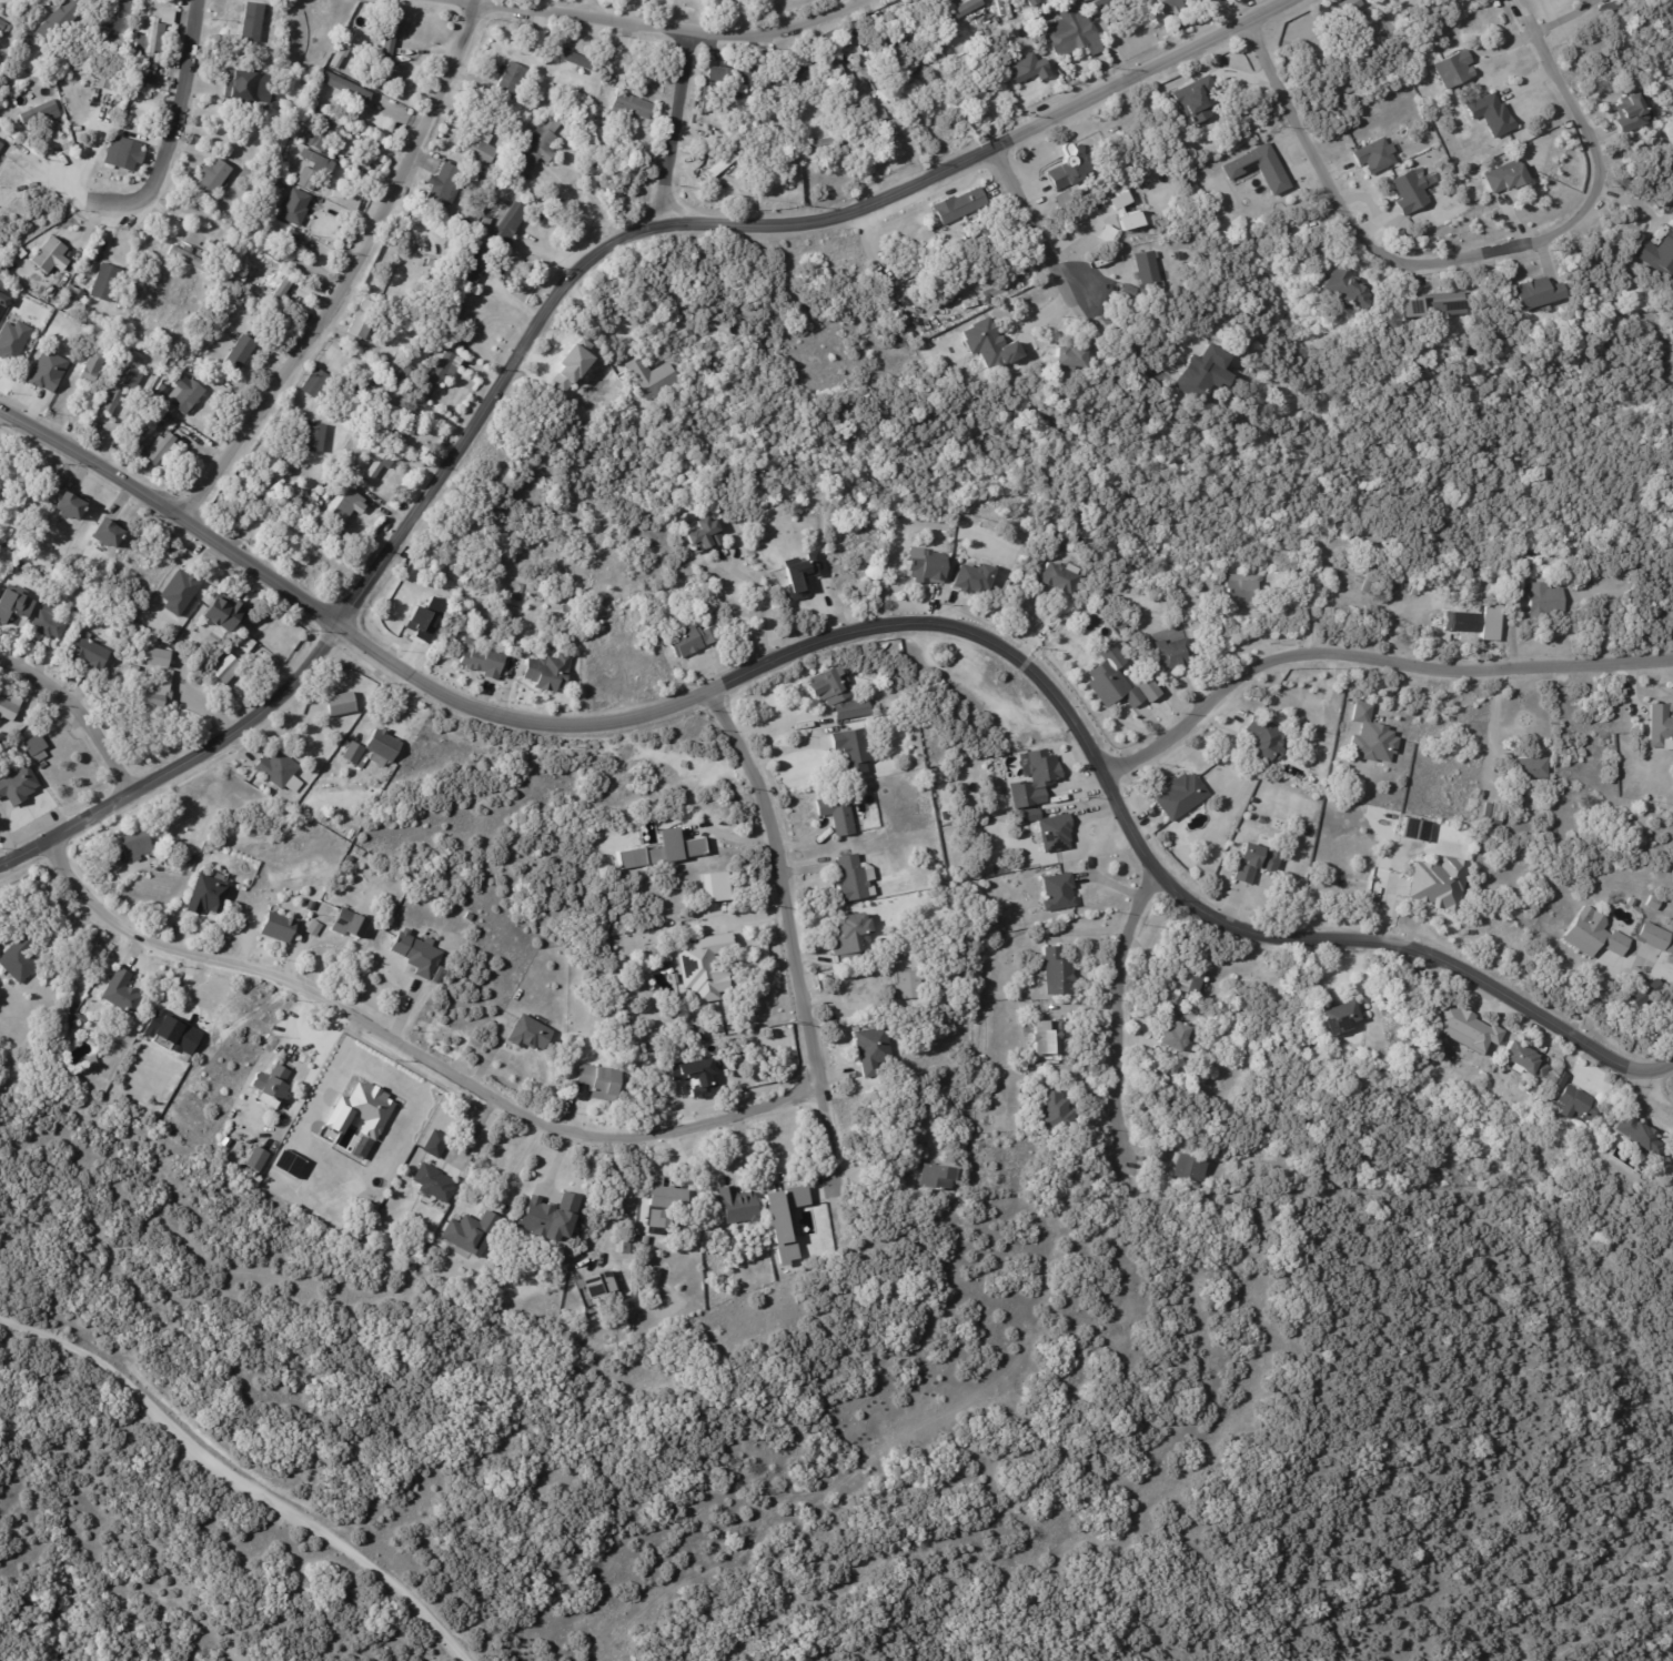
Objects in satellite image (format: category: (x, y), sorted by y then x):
building: (1601, 0)
building: (1606, 1)
building: (1034, 2)
building: (1106, 4)
building: (729, 6)
building: (1170, 7)
building: (958, 12)
building: (167, 17)
building: (57, 18)
building: (121, 24)
building: (4, 30)
building: (1072, 32)
road: (667, 34)
building: (149, 39)
building: (390, 42)
building: (1042, 51)
building: (938, 53)
building: (570, 58)
building: (336, 63)
building: (1029, 69)
building: (1457, 70)
building: (790, 74)
building: (511, 77)
building: (150, 80)
building: (846, 83)
building: (724, 84)
building: (248, 87)
building: (345, 89)
building: (133, 91)
building: (972, 93)
building: (531, 104)
building: (631, 107)
building: (870, 108)
building: (38, 112)
building: (594, 113)
building: (1633, 114)
building: (1492, 115)
building: (879, 117)
road: (666, 129)
building: (320, 131)
building: (0, 143)
building: (825, 144)
building: (0, 147)
building: (1333, 147)
building: (534, 150)
road: (164, 152)
building: (480, 152)
building: (1421, 152)
building: (128, 155)
building: (1377, 157)
building: (719, 165)
building: (1068, 168)
building: (1257, 168)
building: (313, 171)
building: (248, 174)
building: (212, 179)
building: (1508, 179)
building: (251, 187)
building: (441, 187)
building: (272, 188)
building: (1411, 193)
building: (339, 195)
building: (1119, 199)
building: (293, 207)
building: (960, 207)
building: (314, 218)
building: (1127, 219)
road: (728, 220)
building: (486, 223)
building: (510, 223)
road: (1031, 232)
building: (445, 233)
building: (986, 236)
building: (1185, 241)
building: (447, 246)
building: (281, 249)
building: (189, 250)
road: (1460, 253)
building: (20, 254)
building: (1657, 254)
building: (49, 256)
building: (190, 260)
building: (432, 264)
building: (472, 265)
road: (350, 272)
building: (1149, 273)
building: (278, 278)
building: (431, 281)
building: (104, 283)
building: (1348, 291)
building: (1128, 292)
building: (77, 294)
building: (279, 294)
building: (1541, 296)
building: (2, 304)
building: (1432, 308)
building: (455, 314)
building: (364, 319)
road: (594, 320)
building: (152, 338)
building: (11, 340)
building: (987, 344)
road: (1120, 346)
building: (240, 353)
building: (1099, 354)
building: (1071, 360)
building: (385, 366)
building: (91, 369)
building: (47, 371)
building: (1201, 373)
building: (406, 375)
building: (440, 375)
building: (652, 376)
building: (123, 384)
building: (314, 384)
building: (188, 399)
building: (130, 416)
building: (163, 424)
building: (406, 424)
building: (311, 439)
building: (161, 450)
building: (379, 466)
building: (17, 481)
building: (353, 506)
building: (71, 507)
building: (314, 507)
road: (173, 516)
building: (341, 520)
building: (109, 535)
building: (706, 535)
building: (924, 566)
building: (1646, 567)
building: (799, 574)
building: (969, 578)
building: (1060, 578)
building: (1367, 586)
building: (1019, 588)
building: (1243, 591)
building: (1519, 591)
building: (178, 592)
building: (1415, 592)
road: (758, 596)
building: (1545, 598)
building: (13, 603)
building: (1288, 606)
building: (80, 607)
building: (222, 612)
building: (1464, 621)
building: (48, 625)
building: (1120, 625)
building: (691, 641)
building: (245, 645)
building: (1175, 653)
building: (88, 654)
road: (1370, 656)
building: (152, 660)
building: (484, 661)
building: (226, 672)
building: (548, 672)
building: (1113, 685)
building: (1146, 691)
building: (154, 693)
building: (838, 694)
road: (1045, 699)
building: (340, 705)
building: (9, 709)
road: (78, 713)
road: (777, 725)
building: (1661, 725)
road: (1491, 731)
building: (1373, 737)
building: (1, 739)
building: (1266, 739)
building: (384, 746)
building: (36, 751)
building: (854, 751)
road: (178, 755)
building: (353, 755)
building: (1533, 768)
building: (280, 773)
building: (1032, 778)
building: (18, 788)
building: (270, 794)
building: (1182, 796)
building: (839, 813)
building: (1495, 814)
building: (1019, 829)
building: (1051, 829)
building: (1415, 830)
road: (727, 836)
building: (134, 845)
building: (664, 850)
building: (1253, 862)
building: (855, 879)
building: (1441, 883)
building: (713, 886)
building: (1059, 893)
building: (206, 895)
building: (1632, 903)
building: (1654, 903)
building: (310, 906)
building: (468, 917)
building: (350, 925)
building: (278, 928)
building: (314, 929)
building: (1011, 930)
building: (1595, 934)
building: (851, 937)
building: (1657, 938)
road: (800, 952)
building: (422, 957)
building: (18, 960)
building: (706, 967)
building: (1058, 973)
building: (1190, 981)
building: (908, 986)
building: (121, 994)
building: (1644, 994)
building: (67, 1016)
building: (1338, 1016)
road: (1120, 1025)
building: (1464, 1029)
building: (172, 1033)
building: (530, 1034)
building: (698, 1035)
building: (1044, 1037)
building: (1177, 1037)
road: (402, 1047)
building: (873, 1050)
building: (1525, 1064)
road: (1666, 1073)
building: (697, 1077)
building: (1562, 1080)
building: (599, 1083)
building: (273, 1085)
building: (1581, 1105)
building: (361, 1110)
building: (1056, 1110)
building: (1640, 1135)
building: (436, 1145)
building: (256, 1159)
building: (288, 1164)
road: (517, 1168)
building: (1192, 1169)
building: (939, 1178)
building: (434, 1184)
building: (668, 1197)
road: (624, 1200)
building: (739, 1207)
building: (548, 1217)
building: (784, 1220)
building: (657, 1221)
building: (472, 1234)
building: (645, 1241)
building: (624, 1248)
building: (406, 1262)
building: (597, 1286)
road: (242, 1476)

